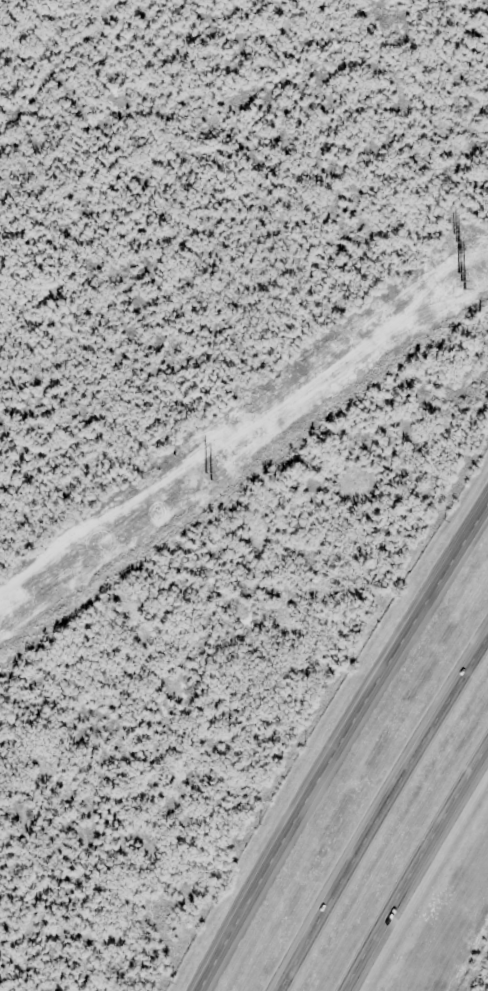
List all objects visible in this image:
power tower: (465, 277)
power tower: (200, 481)
road: (340, 746)
road: (381, 813)
road: (417, 871)

